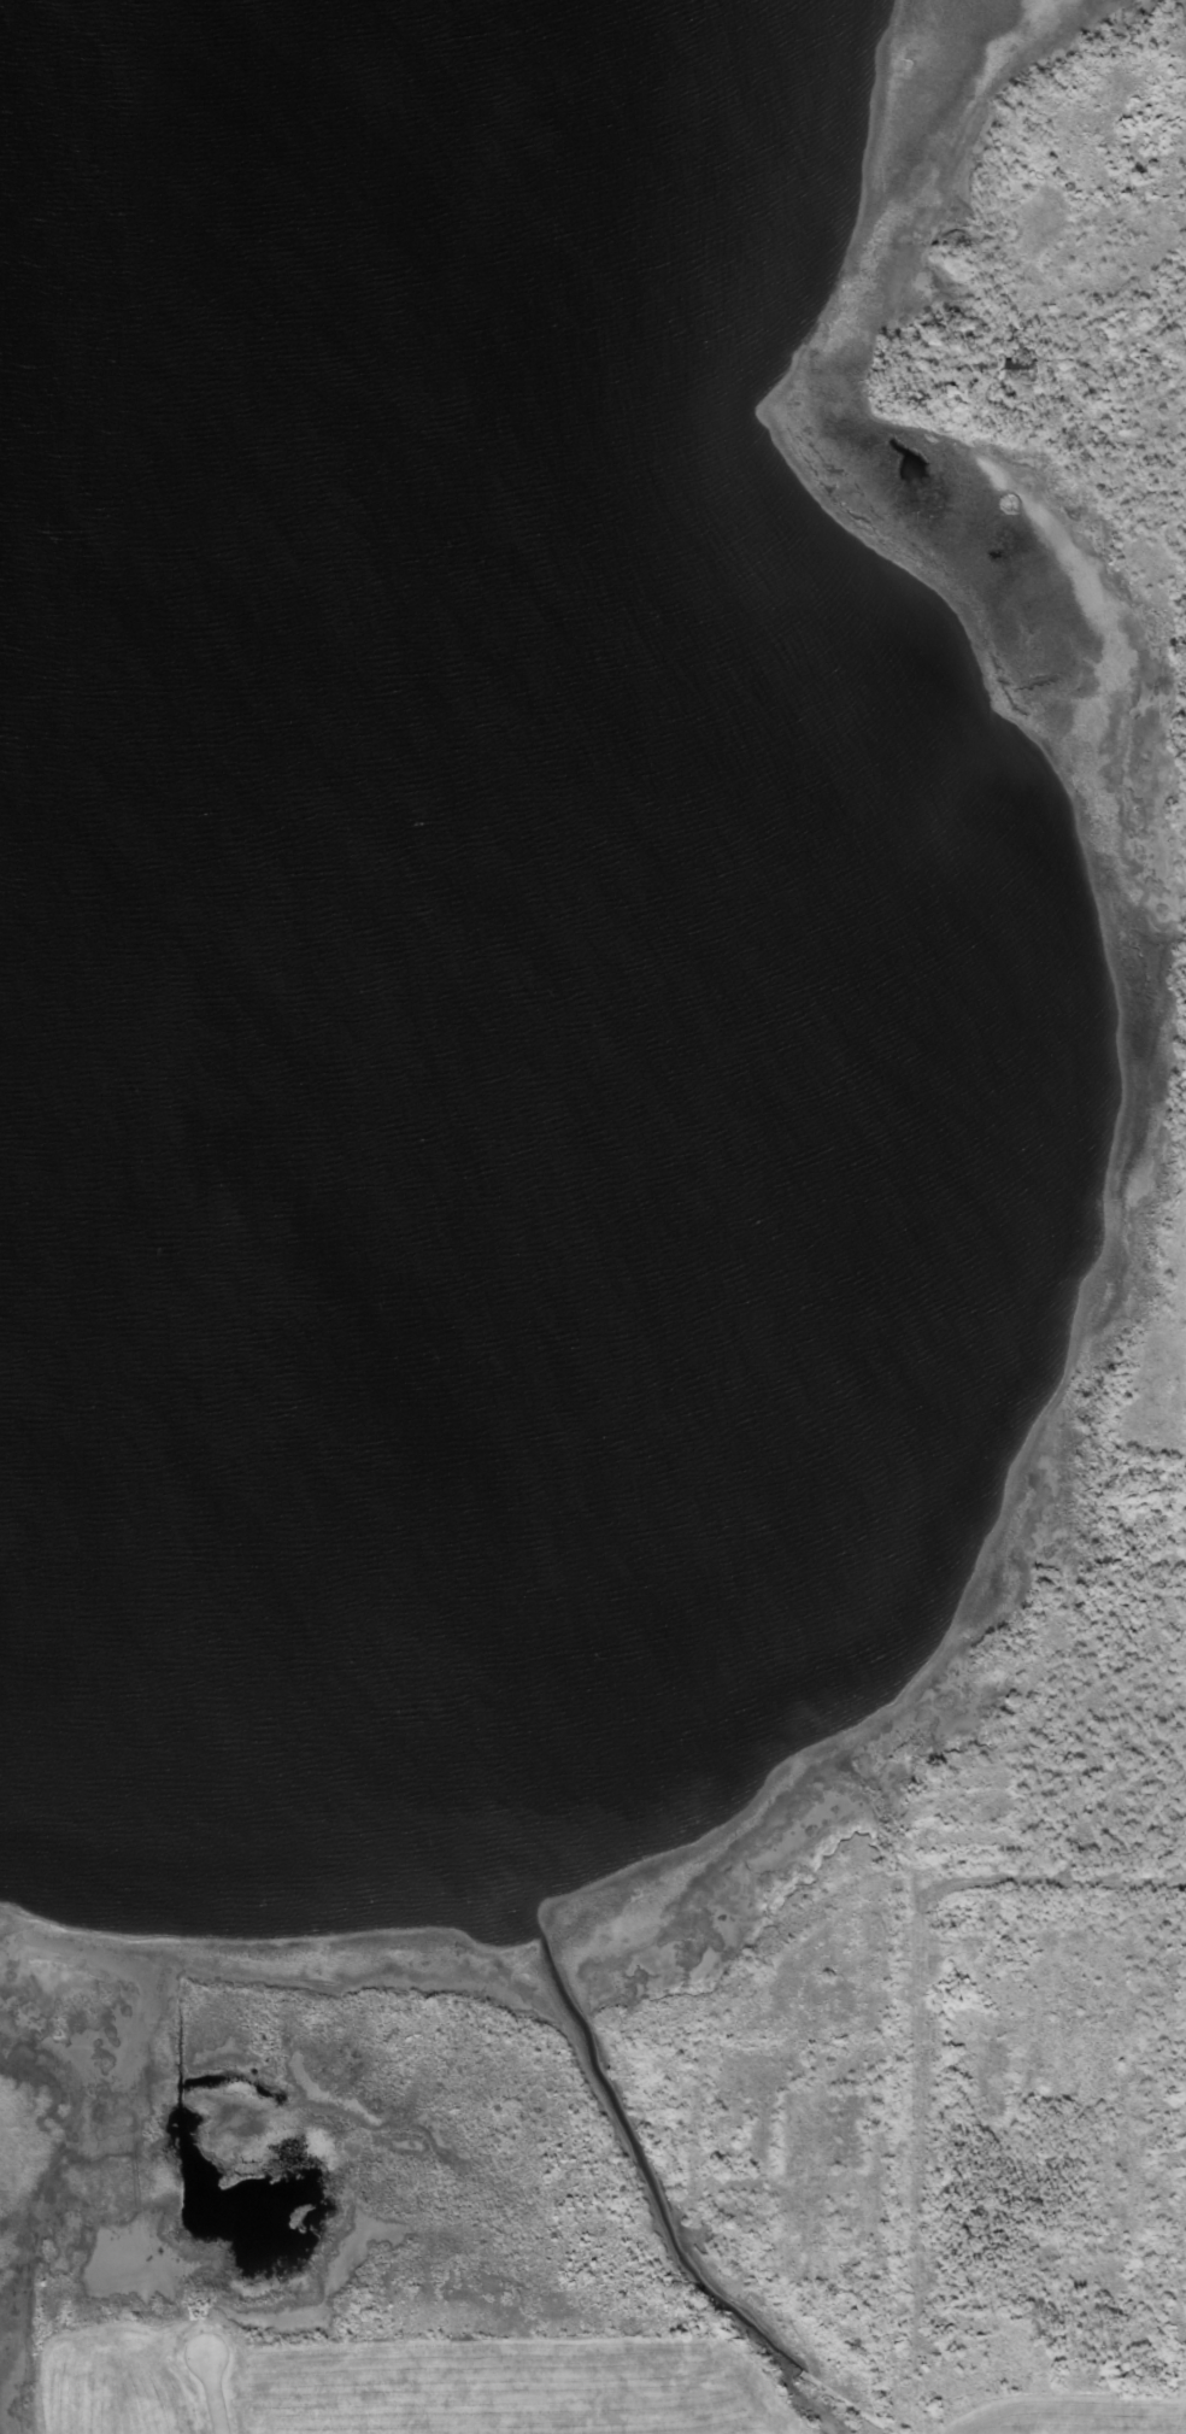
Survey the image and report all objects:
road: (213, 2393)

